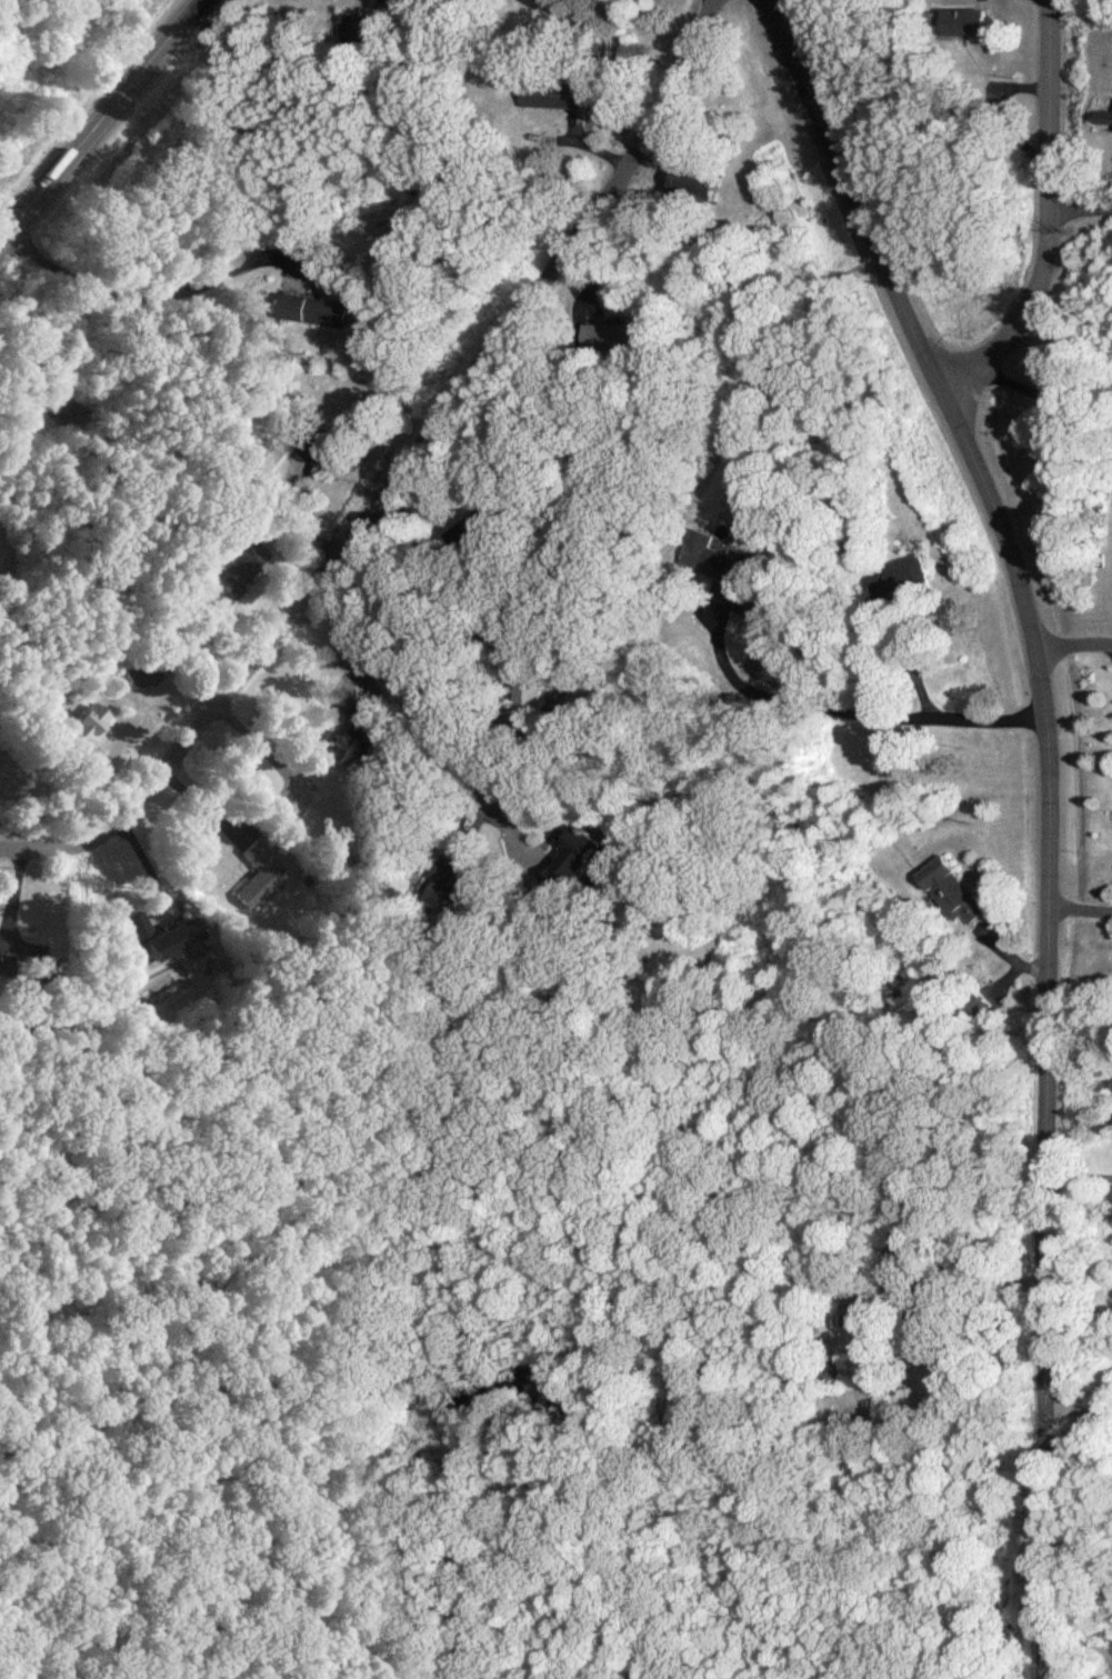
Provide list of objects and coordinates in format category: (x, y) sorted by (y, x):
building: (971, 23)
building: (558, 96)
road: (100, 120)
building: (1106, 120)
road: (1056, 127)
building: (698, 184)
road: (1083, 212)
road: (1013, 331)
building: (599, 337)
building: (273, 456)
building: (350, 457)
road: (401, 480)
building: (242, 570)
building: (902, 580)
road: (1073, 647)
building: (144, 674)
building: (533, 701)
road: (878, 709)
building: (90, 730)
building: (349, 742)
road: (424, 799)
road: (1049, 811)
building: (259, 859)
building: (580, 863)
building: (453, 885)
building: (956, 893)
road: (1080, 908)
building: (164, 938)
building: (8, 958)
building: (829, 1373)

